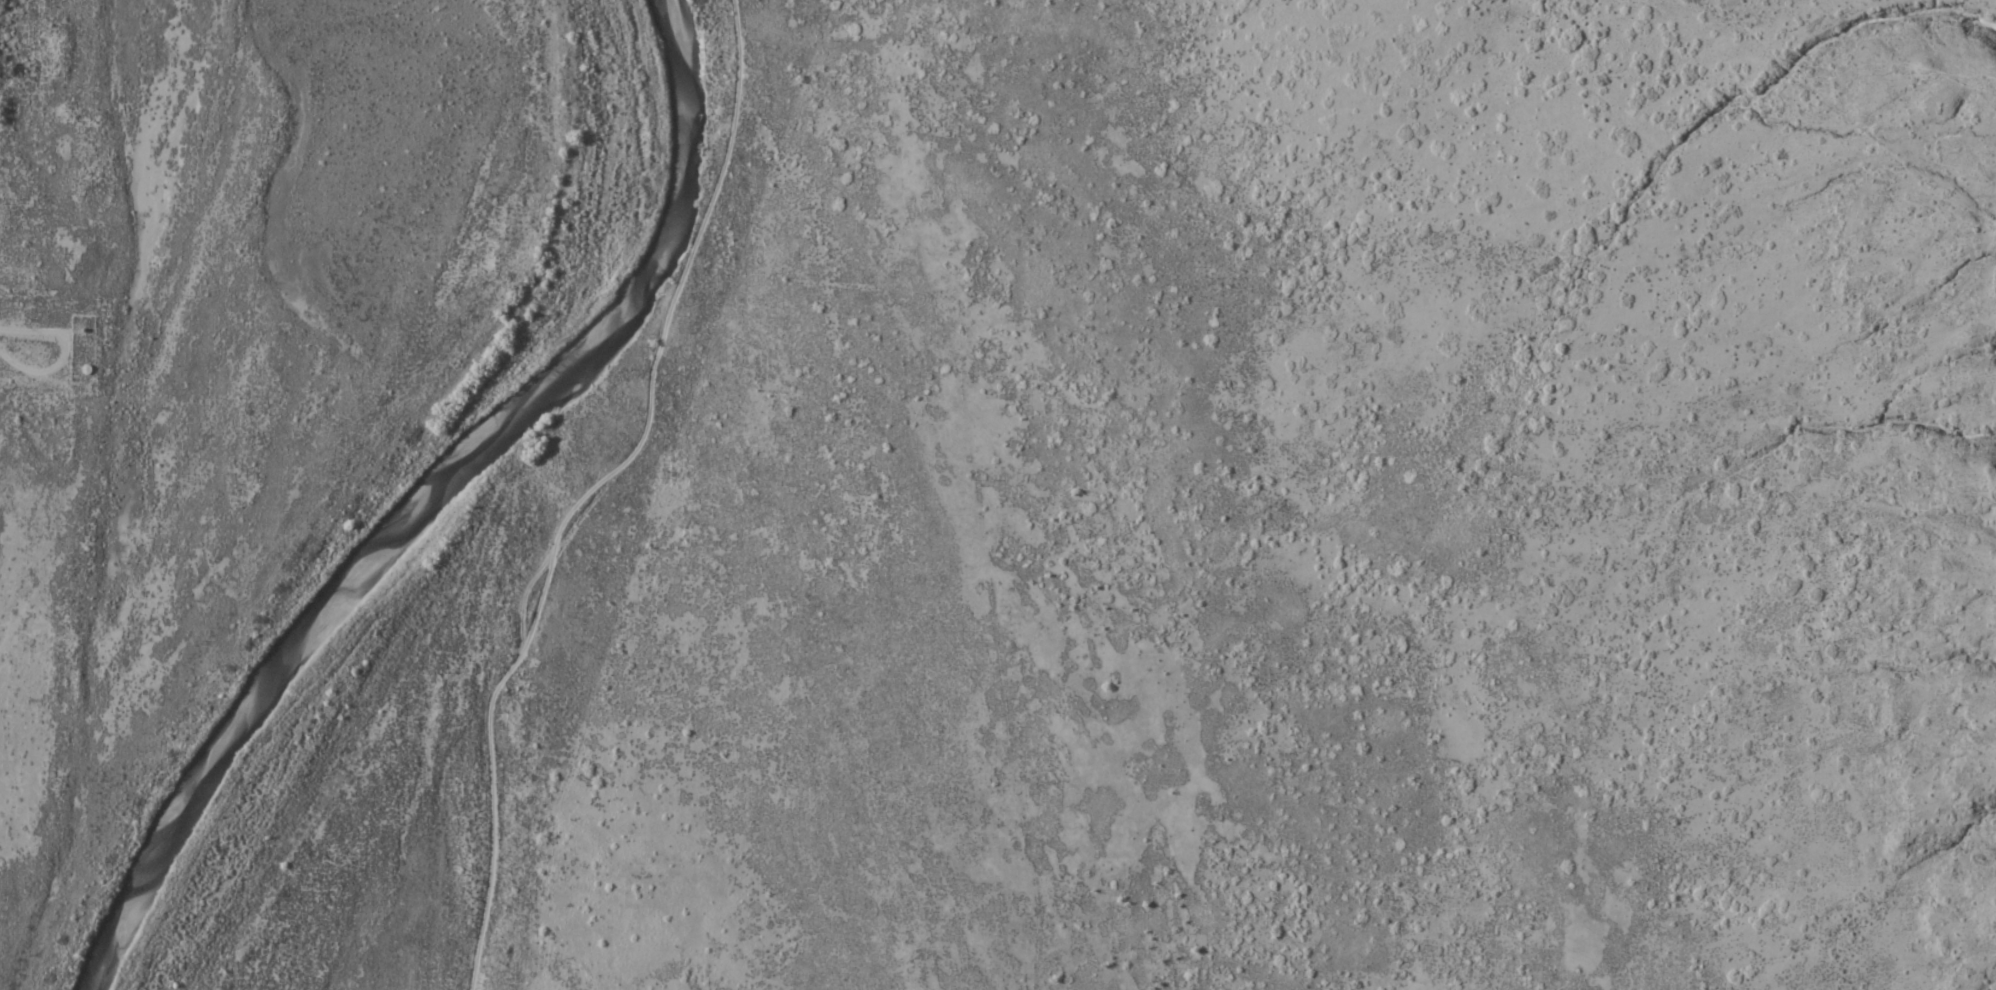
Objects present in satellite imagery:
road: (596, 494)
river: (427, 507)

